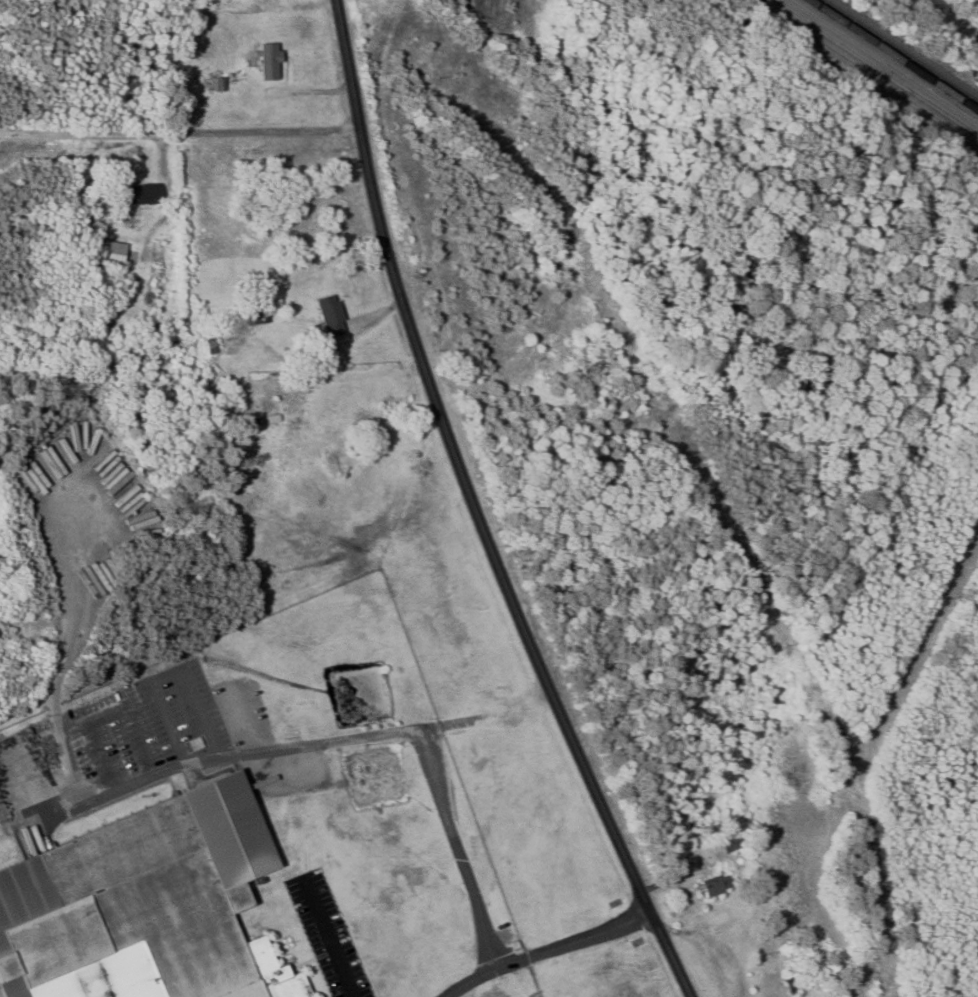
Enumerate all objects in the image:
railway: (901, 50)
railway: (894, 55)
building: (270, 61)
railway: (885, 61)
railway: (877, 66)
railway: (871, 73)
road: (180, 130)
building: (141, 194)
building: (110, 253)
building: (330, 316)
road: (474, 512)
road: (173, 671)
road: (105, 713)
road: (351, 738)
road: (70, 759)
building: (731, 843)
building: (713, 886)
building: (129, 920)
road: (330, 936)
road: (548, 950)

